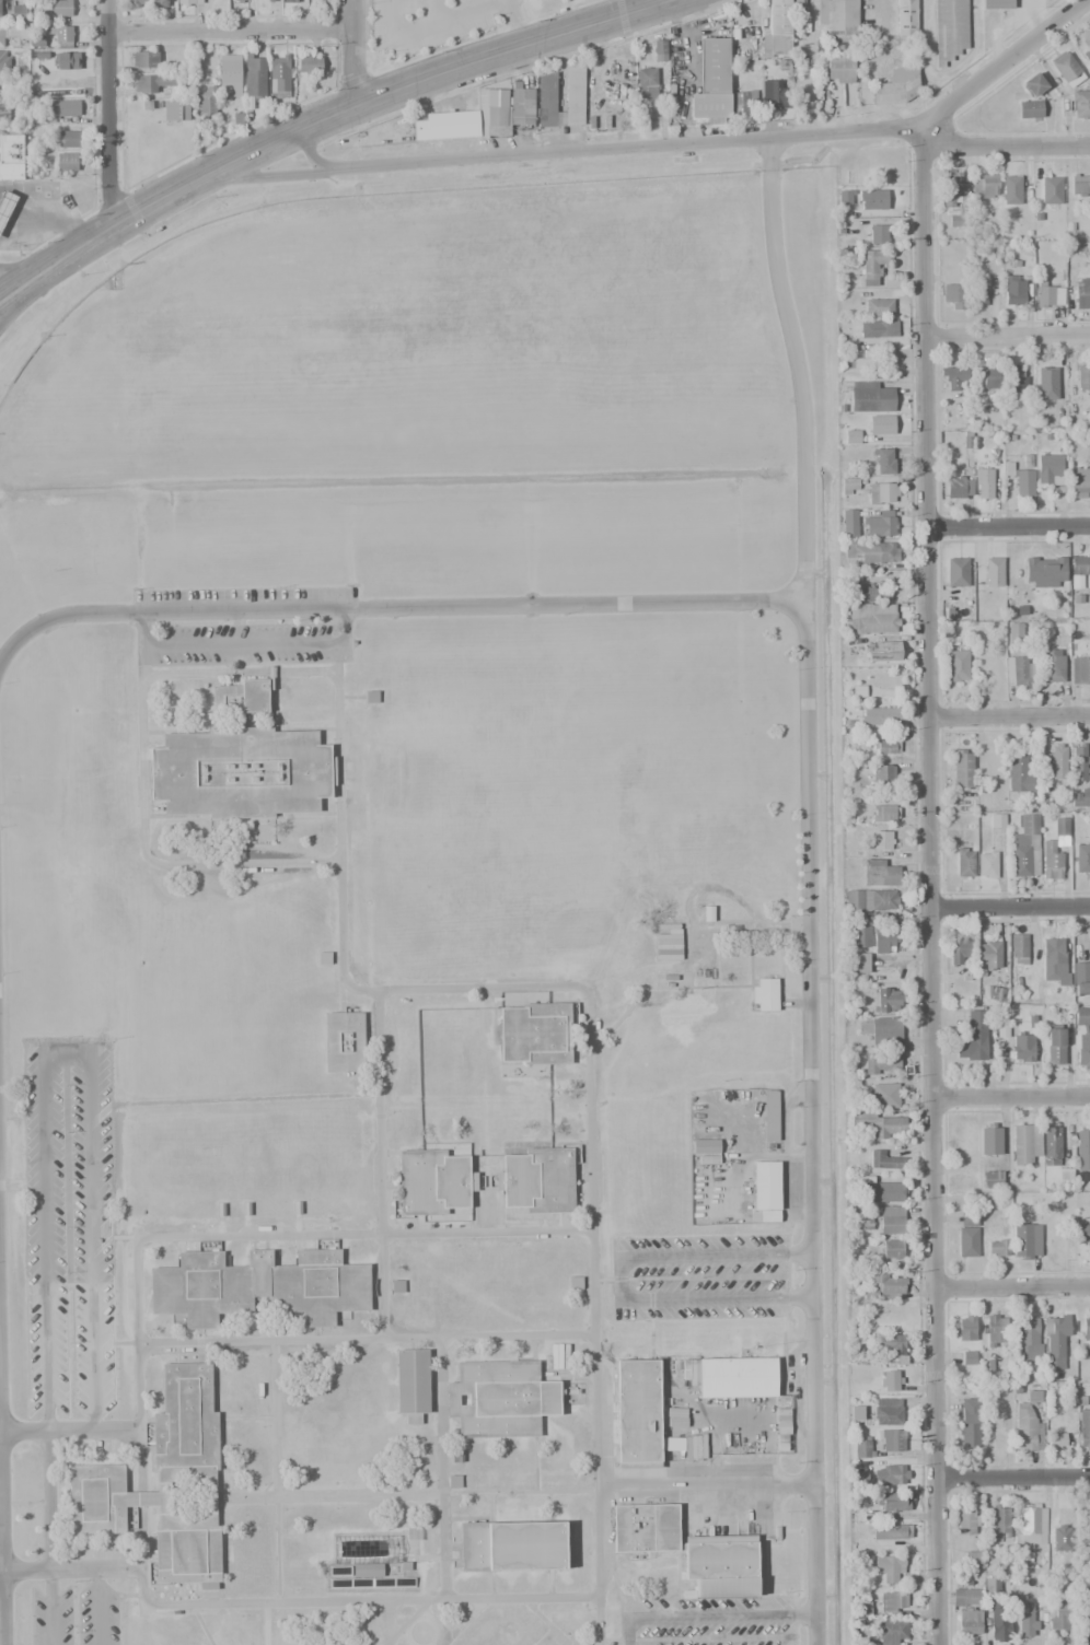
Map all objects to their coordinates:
building: (267, 0)
building: (241, 1)
building: (290, 1)
building: (317, 1)
building: (189, 2)
building: (136, 3)
building: (159, 3)
road: (639, 4)
building: (796, 4)
building: (996, 4)
building: (59, 8)
building: (12, 10)
road: (434, 10)
road: (444, 16)
road: (392, 17)
building: (906, 17)
building: (840, 20)
road: (515, 23)
building: (778, 28)
building: (949, 30)
road: (232, 31)
building: (4, 33)
building: (735, 34)
building: (62, 37)
building: (658, 50)
road: (353, 51)
building: (1087, 56)
building: (144, 60)
road: (480, 60)
building: (4, 61)
building: (67, 61)
building: (309, 62)
building: (840, 68)
building: (1066, 69)
building: (230, 75)
building: (254, 75)
building: (279, 75)
building: (151, 82)
building: (712, 82)
building: (1033, 83)
building: (896, 85)
building: (646, 87)
building: (575, 94)
building: (775, 95)
building: (547, 100)
building: (743, 101)
building: (206, 102)
building: (1080, 104)
building: (521, 105)
building: (175, 109)
building: (1029, 109)
building: (60, 110)
building: (3, 112)
road: (108, 113)
building: (497, 121)
building: (447, 125)
road: (1004, 137)
building: (69, 139)
road: (706, 149)
building: (11, 156)
building: (67, 162)
road: (257, 179)
building: (1079, 185)
building: (985, 186)
building: (1011, 189)
building: (952, 190)
building: (1051, 190)
building: (844, 197)
building: (872, 199)
building: (5, 205)
road: (142, 207)
building: (954, 220)
building: (878, 234)
building: (872, 266)
road: (20, 270)
building: (1013, 290)
building: (979, 291)
building: (1081, 293)
building: (953, 295)
building: (1050, 297)
road: (9, 301)
building: (878, 307)
building: (885, 328)
road: (1006, 337)
building: (857, 363)
road: (797, 372)
building: (1014, 375)
building: (953, 376)
building: (986, 377)
building: (1082, 378)
building: (1045, 380)
building: (869, 397)
building: (880, 424)
building: (851, 436)
building: (1027, 460)
building: (883, 462)
building: (1048, 469)
building: (983, 482)
building: (1023, 482)
building: (1080, 483)
building: (848, 486)
building: (959, 487)
building: (883, 493)
building: (848, 523)
building: (879, 524)
road: (1008, 526)
building: (870, 552)
building: (1079, 570)
building: (956, 572)
building: (993, 572)
building: (1044, 573)
building: (872, 594)
building: (873, 618)
building: (1014, 631)
road: (237, 647)
building: (882, 652)
building: (1051, 665)
building: (956, 666)
building: (1080, 669)
building: (1019, 670)
building: (871, 691)
building: (242, 697)
road: (804, 713)
building: (880, 715)
road: (1009, 719)
building: (884, 747)
building: (1054, 761)
building: (1080, 763)
building: (960, 769)
building: (241, 772)
building: (1019, 774)
building: (884, 777)
building: (1081, 797)
building: (885, 813)
building: (998, 820)
building: (1088, 829)
road: (140, 830)
building: (1060, 831)
building: (882, 840)
building: (1025, 848)
building: (1081, 859)
building: (1051, 860)
building: (964, 862)
building: (985, 865)
building: (879, 873)
road: (929, 890)
building: (868, 901)
road: (1010, 906)
building: (859, 934)
building: (883, 941)
building: (668, 944)
building: (1019, 948)
building: (959, 953)
building: (988, 955)
building: (858, 962)
building: (1054, 962)
building: (1081, 979)
building: (995, 993)
building: (765, 994)
building: (886, 999)
road: (590, 1006)
building: (1081, 1016)
building: (880, 1029)
building: (534, 1034)
building: (972, 1037)
building: (344, 1041)
building: (1055, 1046)
road: (63, 1048)
building: (1022, 1048)
building: (1082, 1051)
building: (881, 1061)
road: (1013, 1090)
building: (883, 1096)
building: (770, 1116)
building: (881, 1125)
building: (990, 1139)
building: (1025, 1144)
building: (705, 1146)
building: (1051, 1146)
building: (1081, 1157)
building: (884, 1159)
road: (378, 1166)
building: (990, 1179)
building: (537, 1180)
building: (432, 1181)
building: (765, 1190)
building: (879, 1191)
building: (891, 1220)
building: (859, 1223)
building: (966, 1233)
building: (1083, 1234)
road: (237, 1236)
building: (1025, 1240)
building: (997, 1248)
building: (891, 1249)
road: (621, 1280)
building: (257, 1286)
building: (884, 1286)
road: (1012, 1288)
building: (1086, 1328)
building: (963, 1329)
building: (995, 1331)
building: (1027, 1338)
road: (366, 1341)
building: (1056, 1342)
building: (891, 1347)
building: (967, 1357)
building: (738, 1377)
building: (890, 1380)
building: (413, 1384)
building: (500, 1399)
building: (886, 1411)
building: (637, 1414)
building: (675, 1417)
road: (275, 1420)
building: (970, 1423)
building: (1028, 1423)
road: (69, 1428)
building: (1083, 1430)
building: (1056, 1439)
building: (891, 1440)
building: (862, 1446)
road: (441, 1469)
building: (890, 1474)
road: (1012, 1478)
building: (858, 1479)
building: (165, 1483)
road: (706, 1485)
road: (1, 1489)
road: (334, 1495)
road: (141, 1498)
road: (48, 1500)
building: (884, 1506)
building: (999, 1520)
building: (966, 1521)
building: (1032, 1522)
building: (645, 1528)
building: (890, 1531)
building: (1062, 1539)
building: (512, 1545)
building: (972, 1560)
building: (722, 1564)
building: (889, 1567)
road: (70, 1570)
building: (368, 1575)
building: (990, 1585)
building: (966, 1598)
road: (324, 1601)
building: (892, 1601)
road: (100, 1607)
road: (48, 1608)
building: (858, 1608)
building: (1086, 1611)
road: (709, 1617)
building: (1059, 1617)
building: (998, 1620)
building: (969, 1622)
road: (389, 1623)
building: (1027, 1623)
building: (890, 1631)

